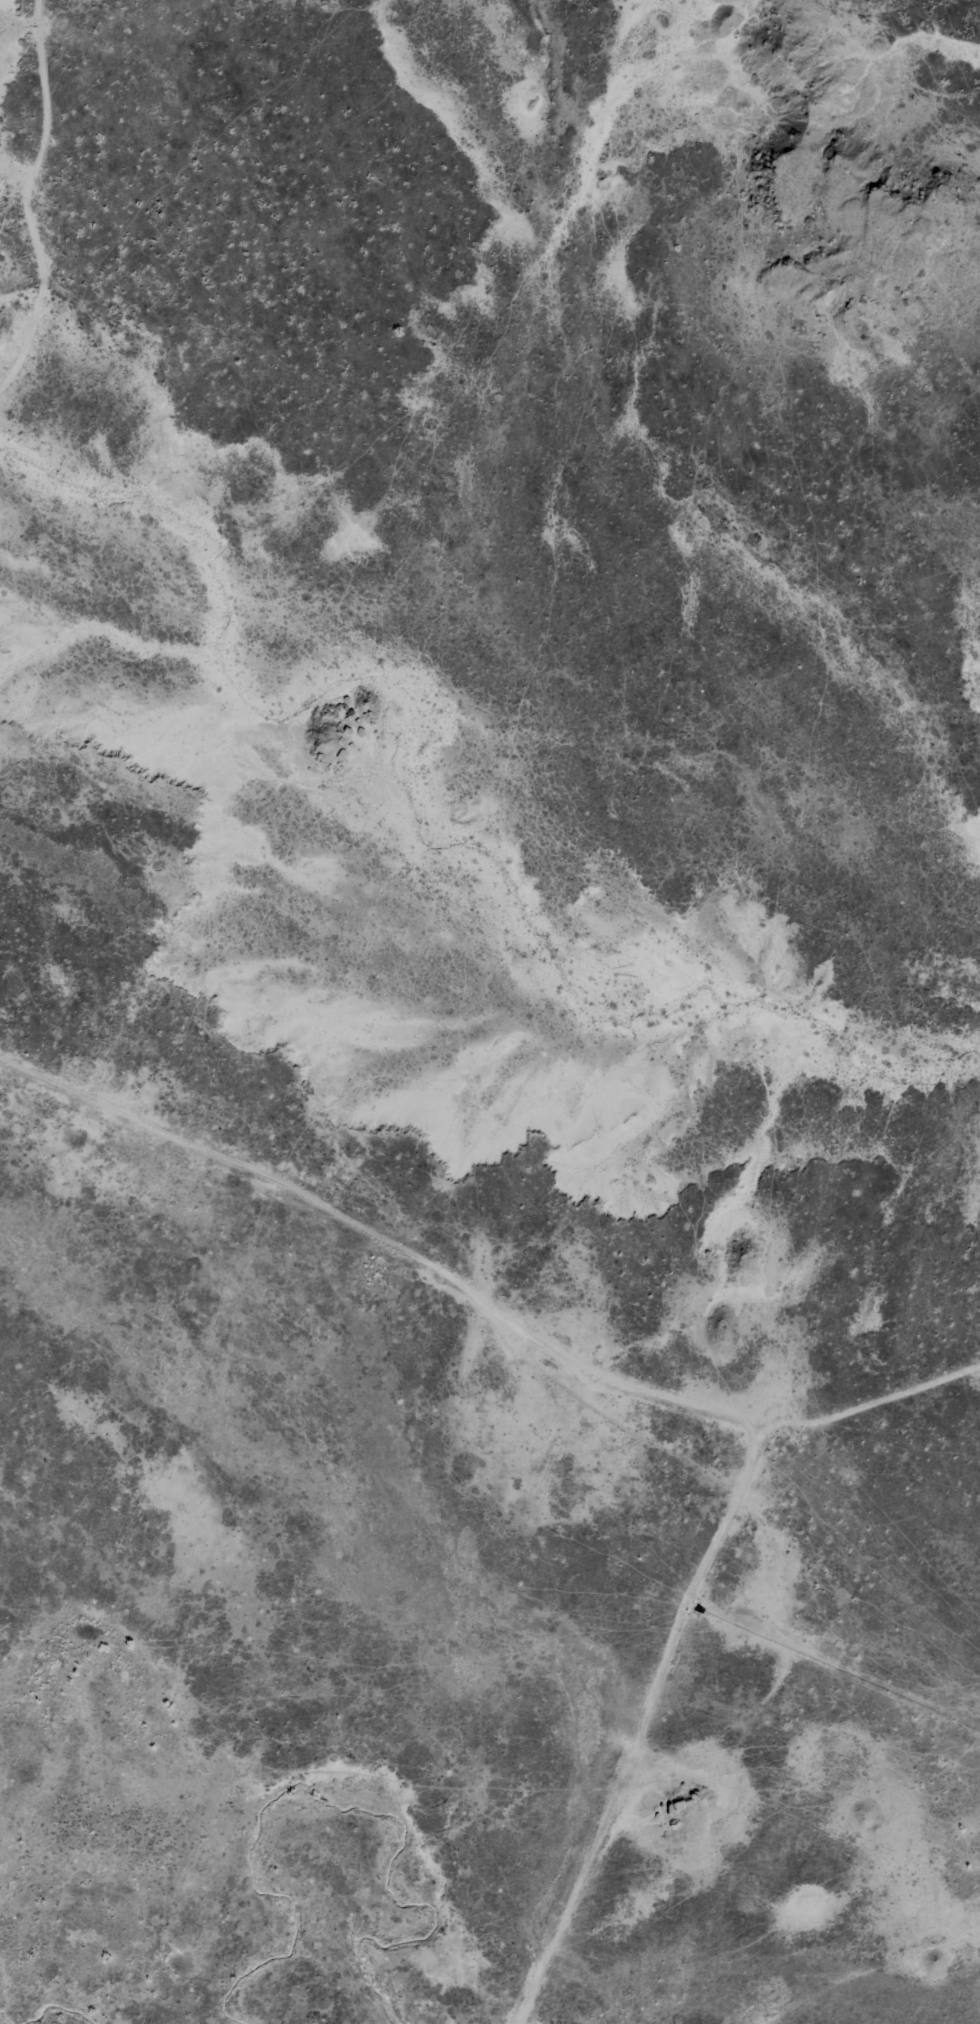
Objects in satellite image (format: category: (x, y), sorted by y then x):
road: (29, 199)
road: (658, 1398)

